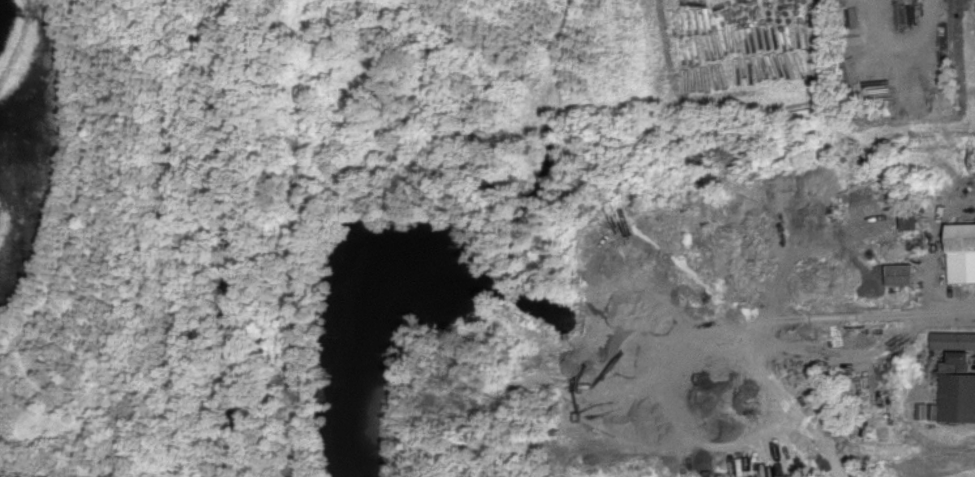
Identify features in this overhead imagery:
building: (915, 232)
building: (960, 254)
building: (900, 276)
building: (952, 342)
building: (952, 394)

